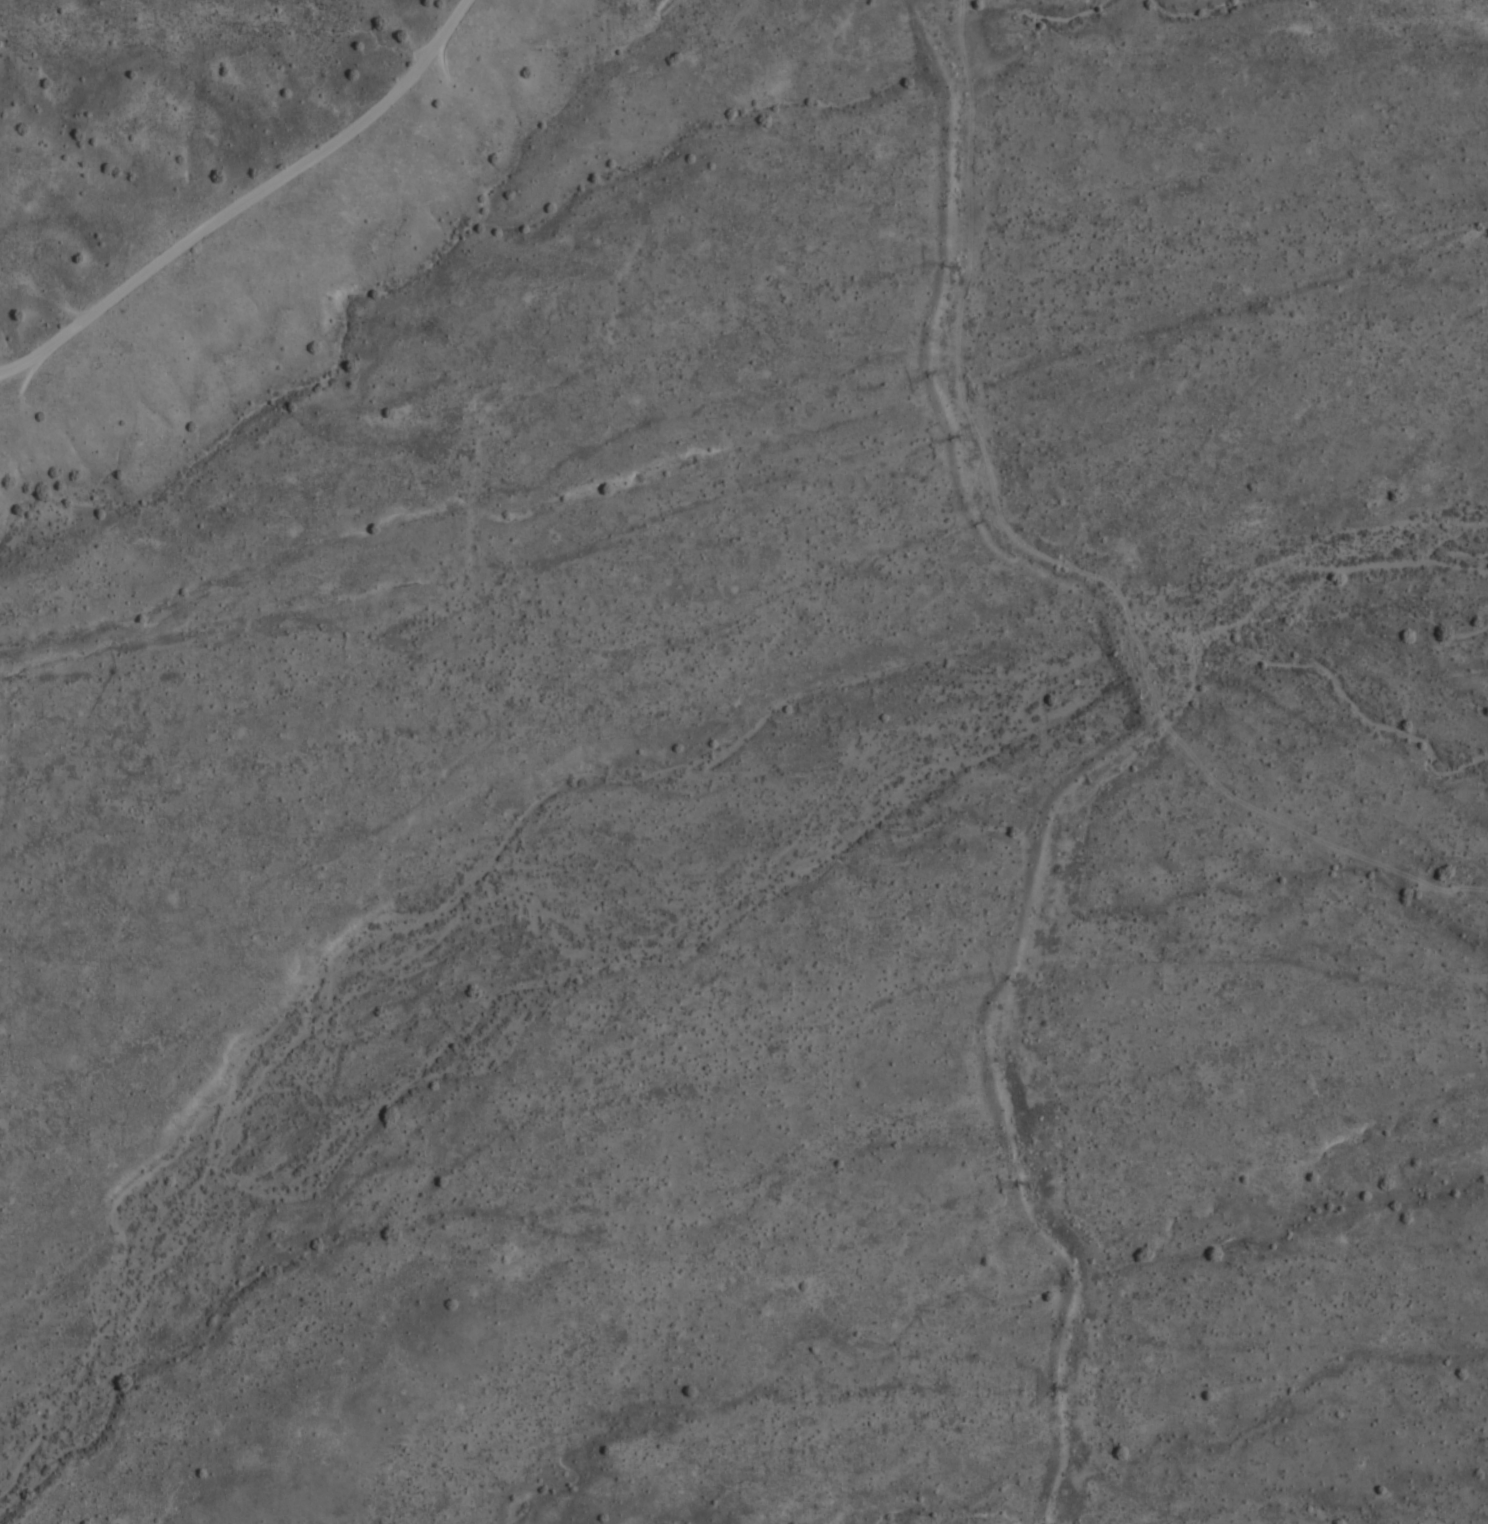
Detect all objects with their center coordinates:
road: (246, 195)

